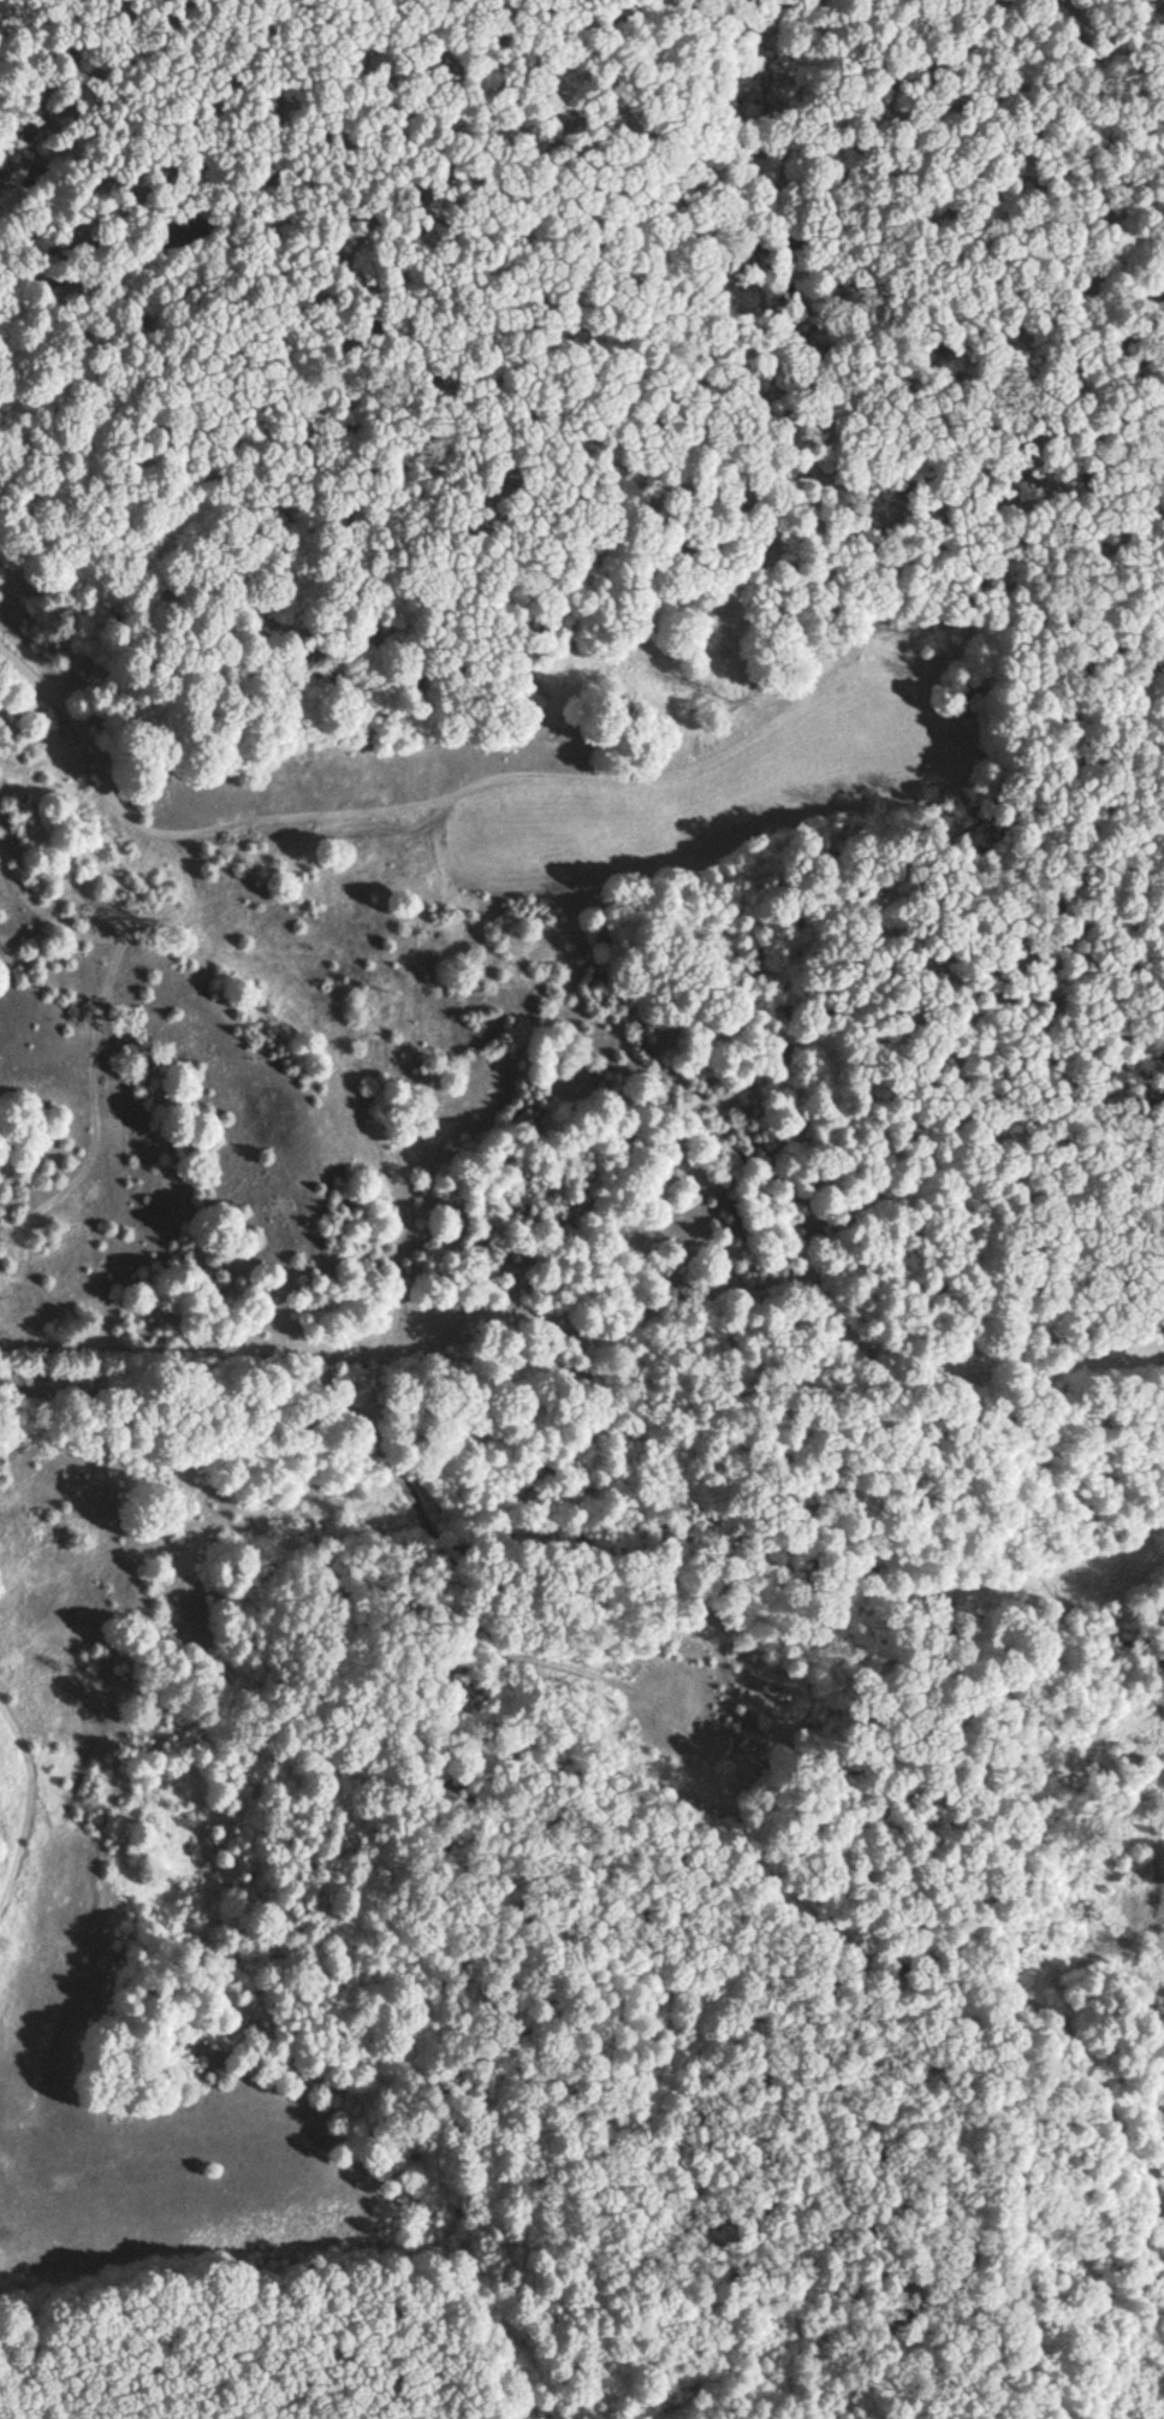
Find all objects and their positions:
road: (581, 1412)
road: (755, 1888)

